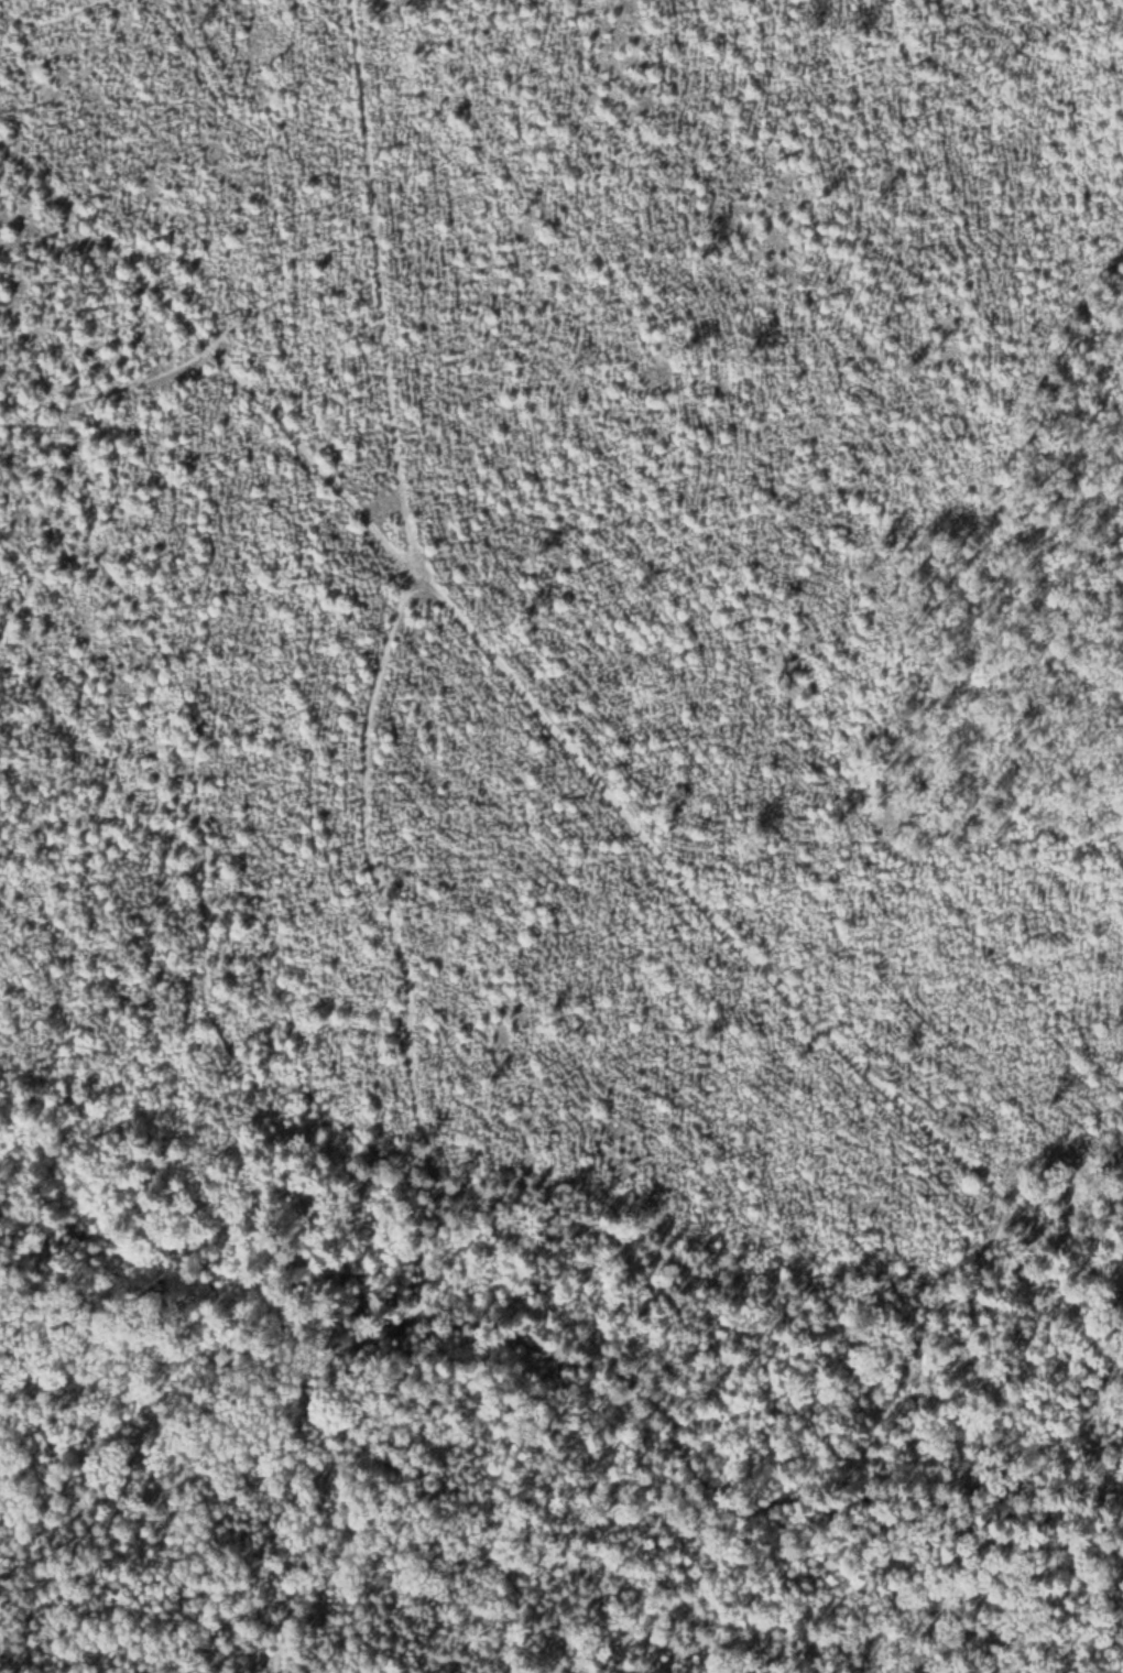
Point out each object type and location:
road: (48, 18)
road: (94, 564)
road: (43, 584)
road: (400, 604)
road: (552, 729)
road: (396, 1329)
road: (466, 1540)
road: (309, 1551)

